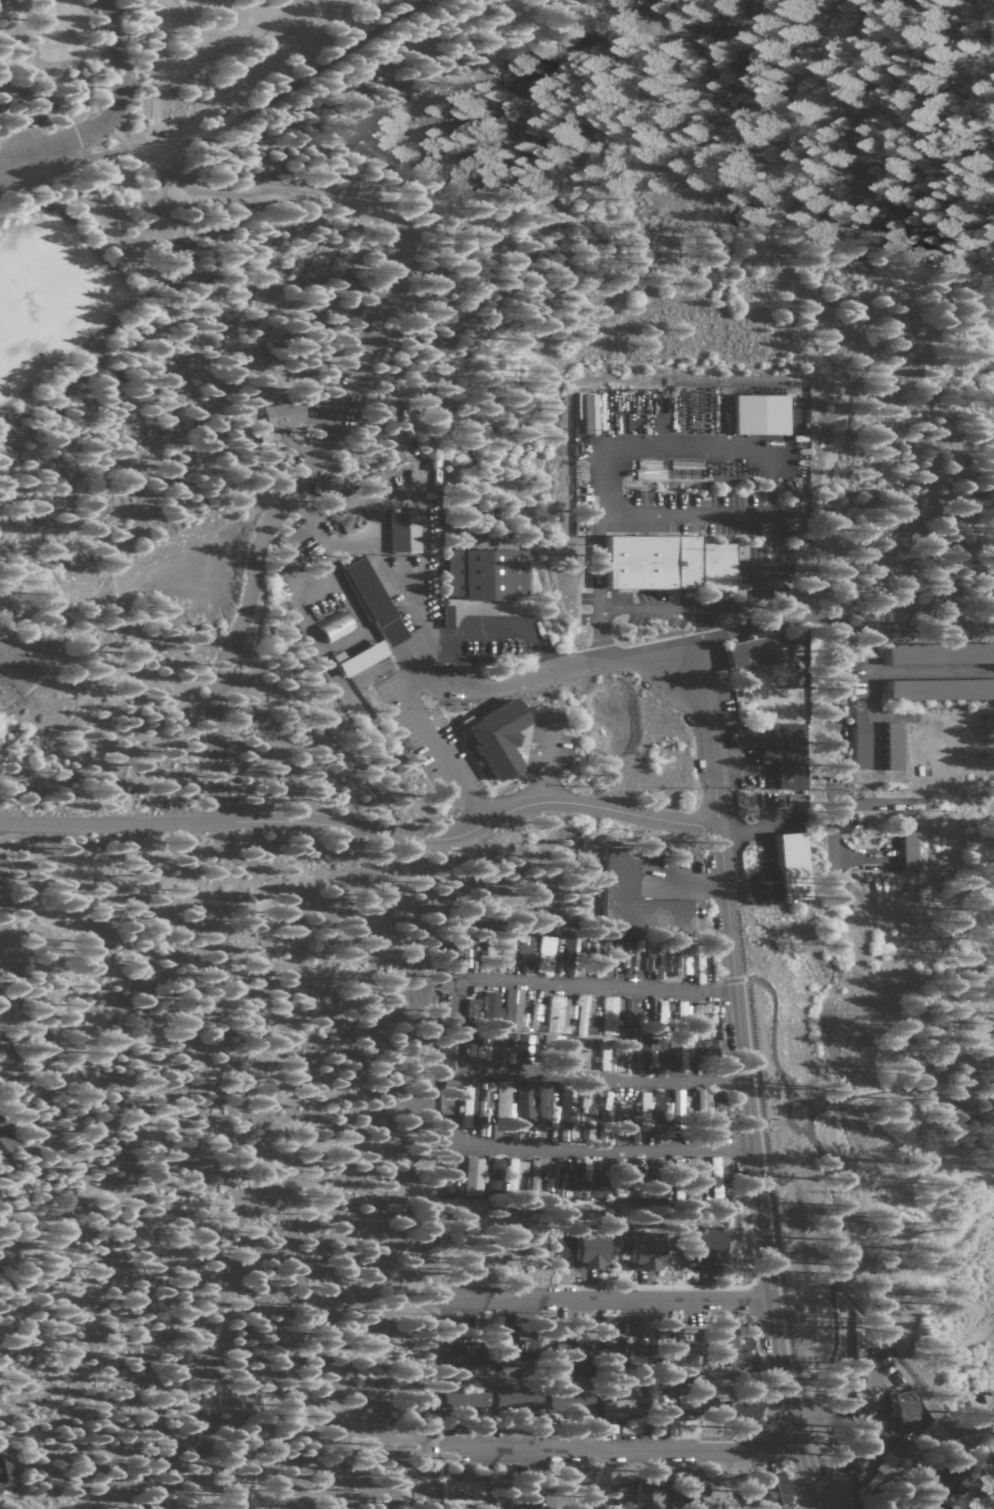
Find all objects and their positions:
road: (119, 76)
road: (248, 114)
road: (37, 148)
parking lot: (31, 156)
park: (52, 297)
road: (890, 314)
park: (329, 344)
road: (339, 404)
building: (285, 413)
building: (590, 413)
building: (762, 414)
road: (612, 447)
building: (433, 464)
road: (683, 516)
building: (406, 532)
road: (776, 553)
building: (670, 563)
building: (488, 574)
building: (375, 601)
road: (638, 608)
building: (448, 616)
building: (337, 626)
road: (486, 630)
building: (755, 653)
building: (941, 653)
building: (363, 658)
building: (486, 665)
building: (799, 667)
road: (530, 674)
road: (824, 685)
building: (942, 689)
road: (700, 735)
building: (501, 738)
building: (862, 738)
building: (895, 746)
building: (780, 750)
road: (437, 758)
road: (547, 758)
building: (747, 782)
road: (873, 800)
road: (592, 806)
toll booth: (133, 821)
road: (239, 821)
road: (750, 827)
road: (770, 827)
building: (910, 849)
road: (858, 854)
road: (65, 855)
road: (187, 862)
building: (795, 867)
road: (692, 886)
building: (766, 888)
building: (638, 894)
road: (720, 907)
building: (507, 952)
building: (525, 954)
building: (580, 954)
building: (623, 954)
building: (546, 955)
building: (656, 961)
building: (678, 962)
building: (698, 968)
road: (548, 982)
building: (474, 1008)
building: (492, 1008)
building: (515, 1009)
building: (684, 1009)
building: (537, 1013)
building: (558, 1015)
building: (628, 1015)
building: (584, 1016)
building: (610, 1017)
building: (702, 1038)
building: (513, 1042)
building: (491, 1047)
building: (551, 1048)
building: (576, 1052)
building: (605, 1054)
building: (652, 1054)
building: (446, 1057)
building: (621, 1061)
road: (902, 1092)
building: (486, 1094)
building: (505, 1101)
building: (587, 1101)
building: (525, 1102)
road: (225, 1104)
building: (549, 1104)
building: (703, 1105)
building: (467, 1107)
building: (569, 1110)
building: (608, 1110)
road: (448, 1111)
building: (669, 1111)
building: (644, 1112)
road: (782, 1116)
building: (590, 1133)
building: (6, 1139)
building: (678, 1165)
building: (514, 1173)
building: (481, 1175)
building: (535, 1175)
building: (716, 1178)
building: (642, 1181)
building: (578, 1183)
road: (832, 1221)
building: (711, 1245)
road: (759, 1250)
building: (594, 1252)
building: (649, 1252)
road: (597, 1299)
road: (880, 1345)
building: (689, 1349)
building: (571, 1354)
building: (615, 1354)
building: (473, 1355)
building: (687, 1396)
building: (466, 1397)
building: (518, 1398)
building: (572, 1399)
building: (986, 1401)
building: (621, 1402)
building: (905, 1405)
building: (739, 1409)
building: (609, 1427)
road: (963, 1446)
road: (616, 1447)
building: (899, 1448)
building: (5, 1467)
building: (941, 1482)
building: (692, 1490)
building: (773, 1490)
building: (650, 1494)
building: (465, 1495)
building: (536, 1495)
building: (971, 1502)

